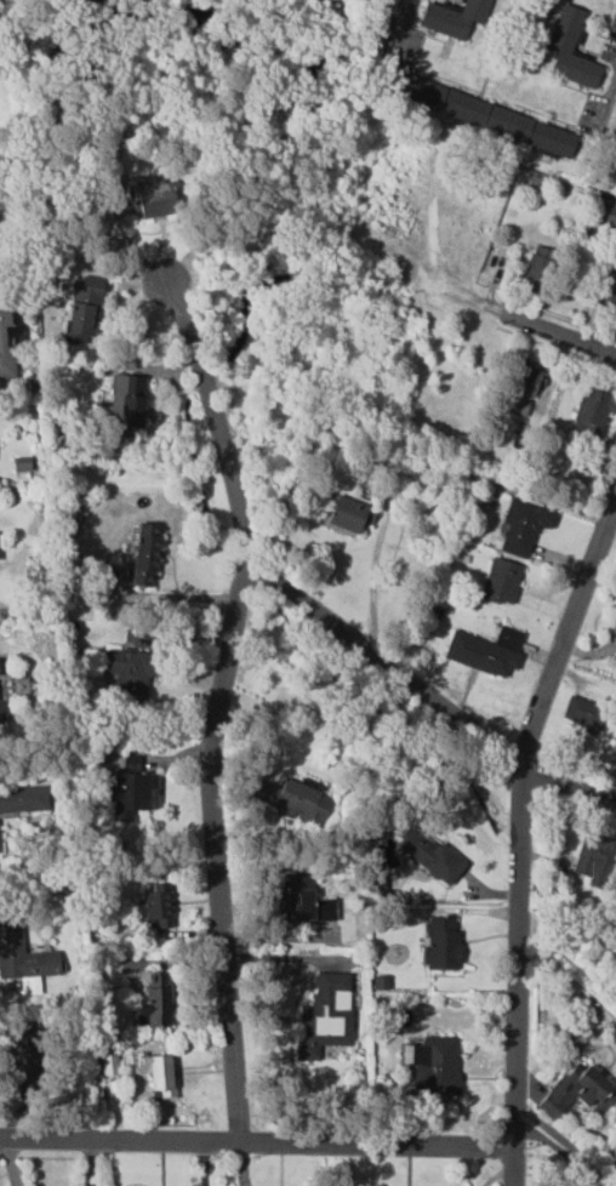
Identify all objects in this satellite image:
building: (454, 17)
road: (397, 30)
building: (571, 49)
road: (608, 103)
building: (486, 115)
building: (150, 200)
building: (606, 215)
road: (434, 222)
building: (536, 270)
building: (610, 300)
building: (82, 308)
road: (525, 319)
building: (6, 342)
building: (524, 389)
building: (127, 403)
road: (212, 410)
building: (591, 414)
building: (349, 513)
building: (524, 526)
building: (146, 554)
road: (371, 577)
building: (502, 581)
building: (486, 651)
road: (383, 662)
building: (131, 672)
building: (2, 712)
building: (584, 713)
road: (566, 783)
building: (132, 789)
building: (295, 798)
building: (23, 800)
road: (518, 836)
road: (212, 850)
building: (0, 851)
building: (429, 855)
building: (594, 860)
building: (302, 901)
building: (158, 907)
building: (443, 945)
building: (23, 957)
building: (381, 982)
building: (155, 1004)
building: (326, 1016)
building: (401, 1017)
building: (19, 1059)
building: (109, 1065)
building: (438, 1066)
building: (159, 1073)
building: (576, 1093)
road: (256, 1144)

